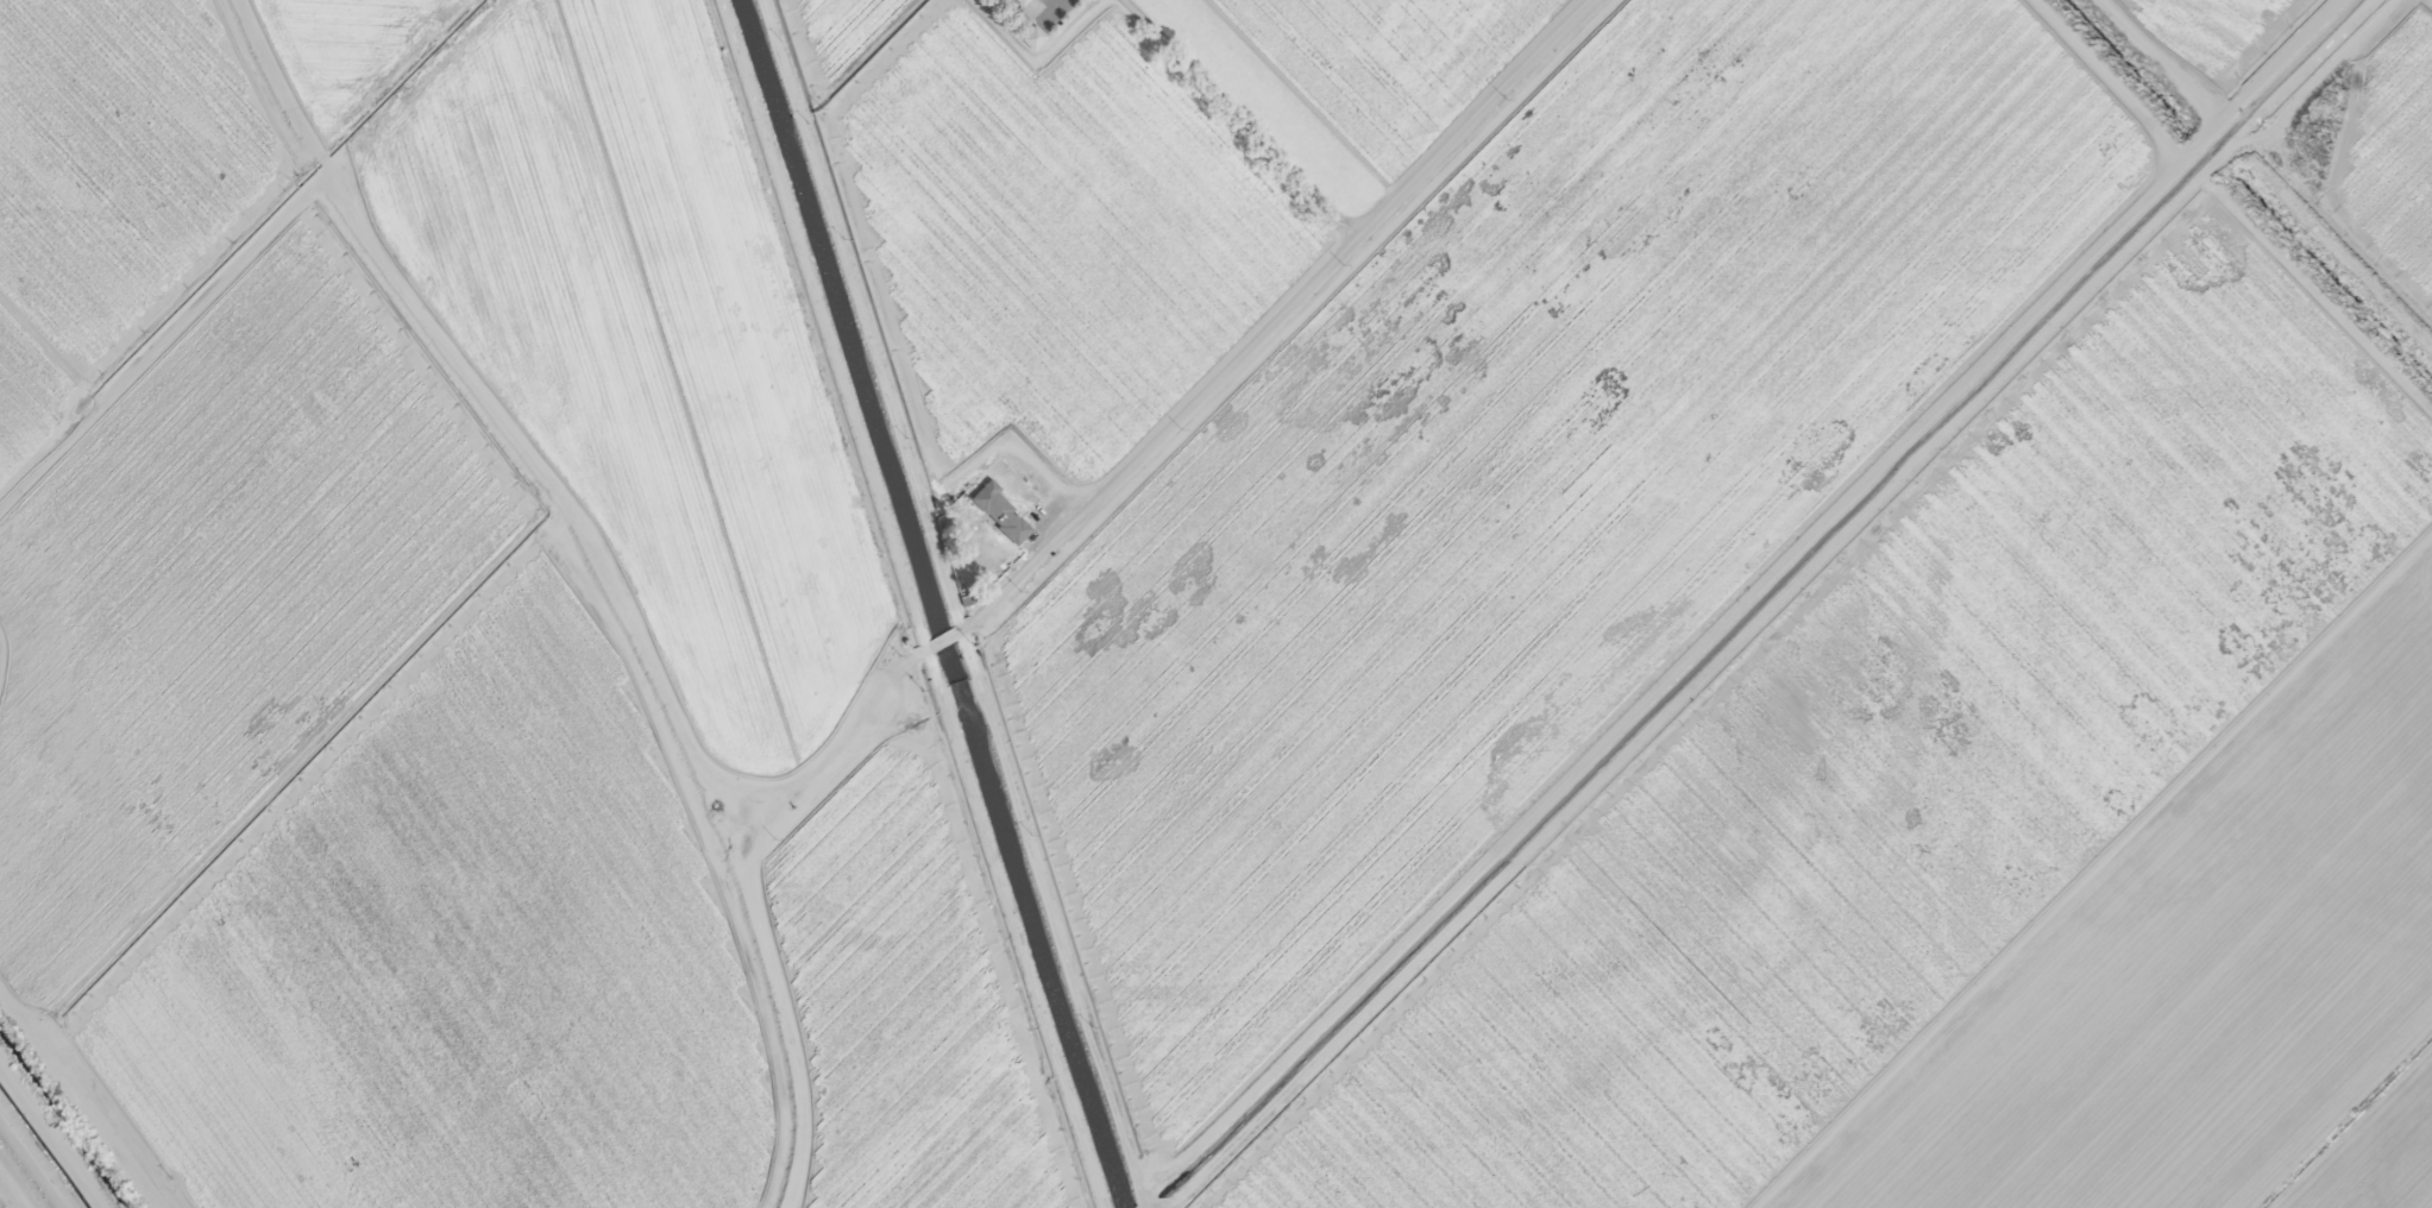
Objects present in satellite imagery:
building: (1026, 1)
building: (1036, 34)
road: (1269, 105)
road: (1269, 319)
building: (992, 499)
road: (1860, 643)
road: (937, 650)
road: (2107, 899)
road: (754, 905)
road: (75, 1101)
road: (20, 1179)

